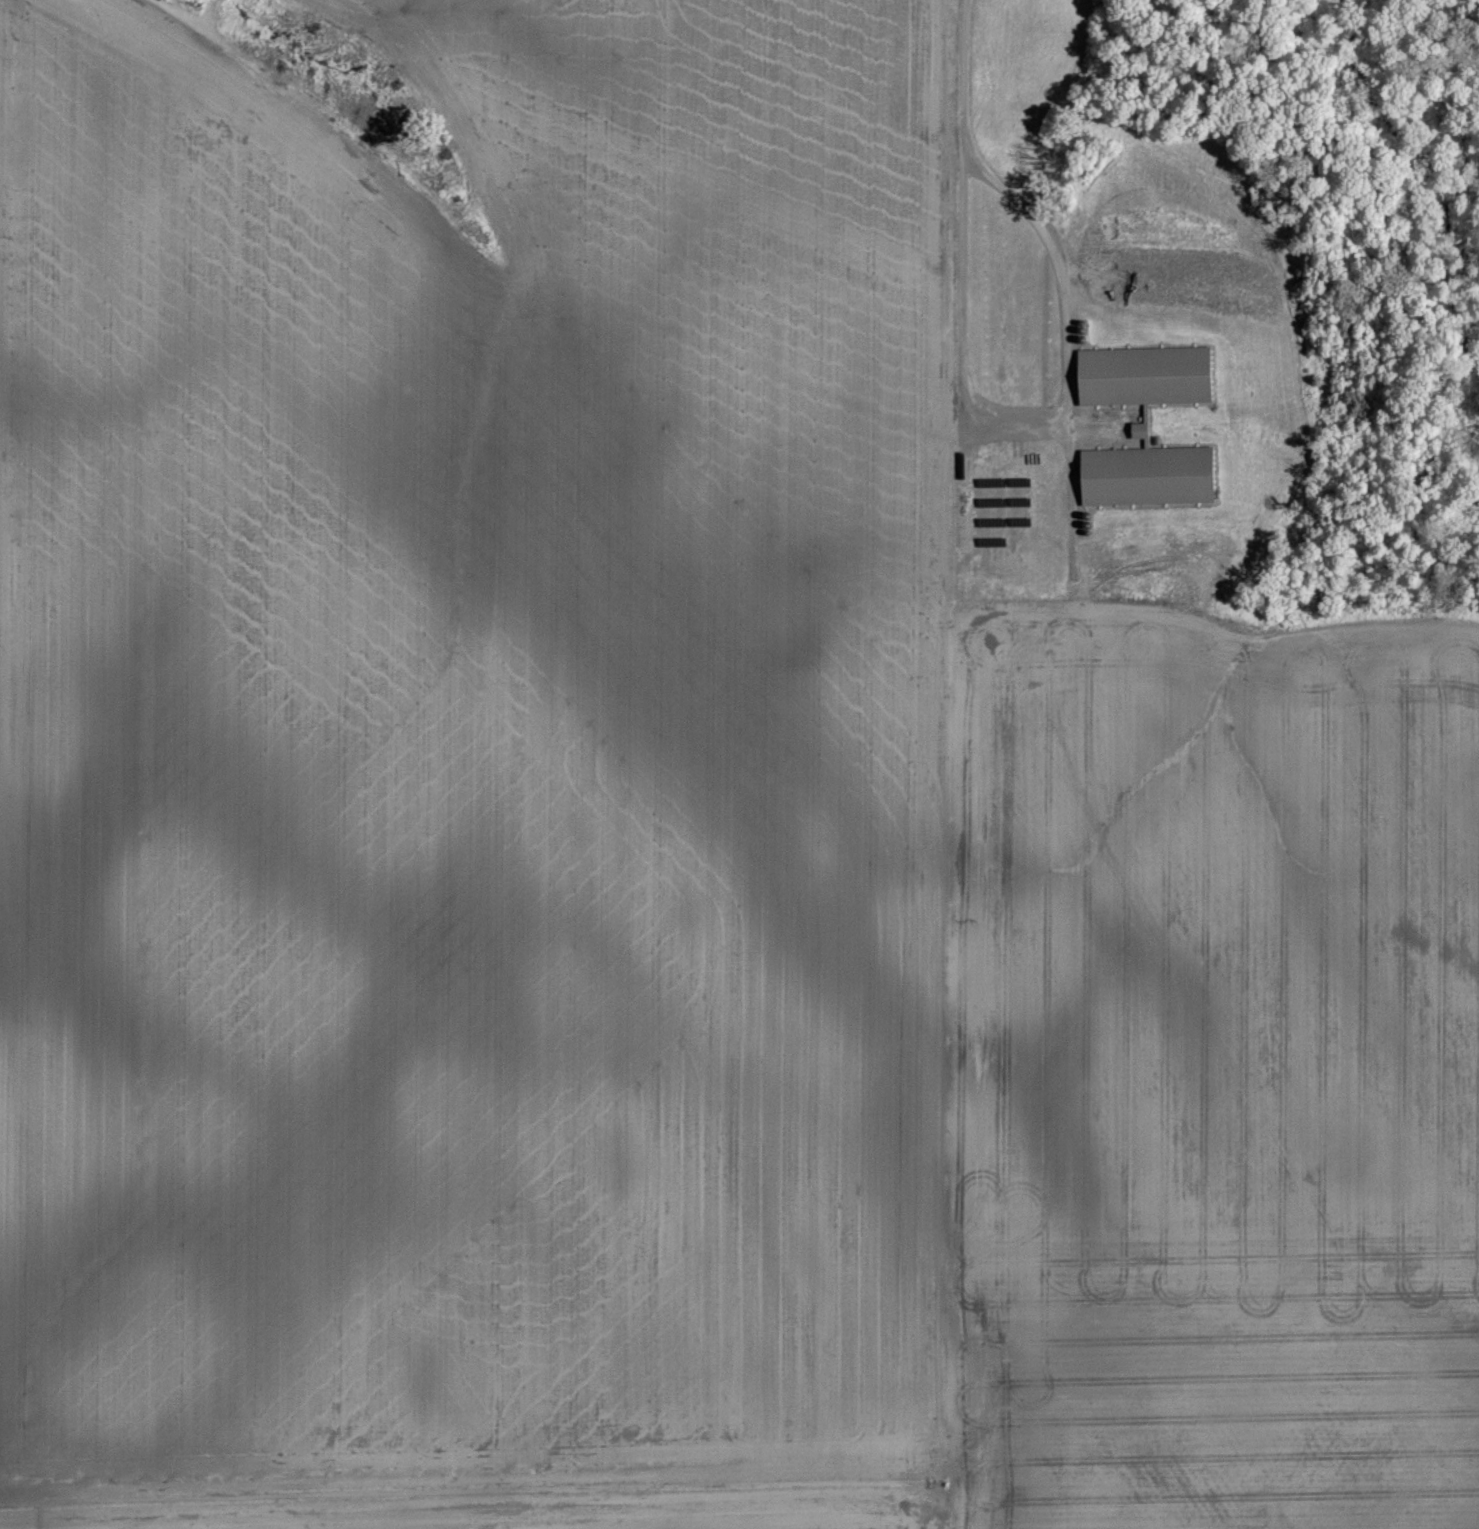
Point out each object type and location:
road: (964, 72)
building: (1145, 376)
road: (1041, 426)
building: (1140, 431)
building: (1147, 477)

